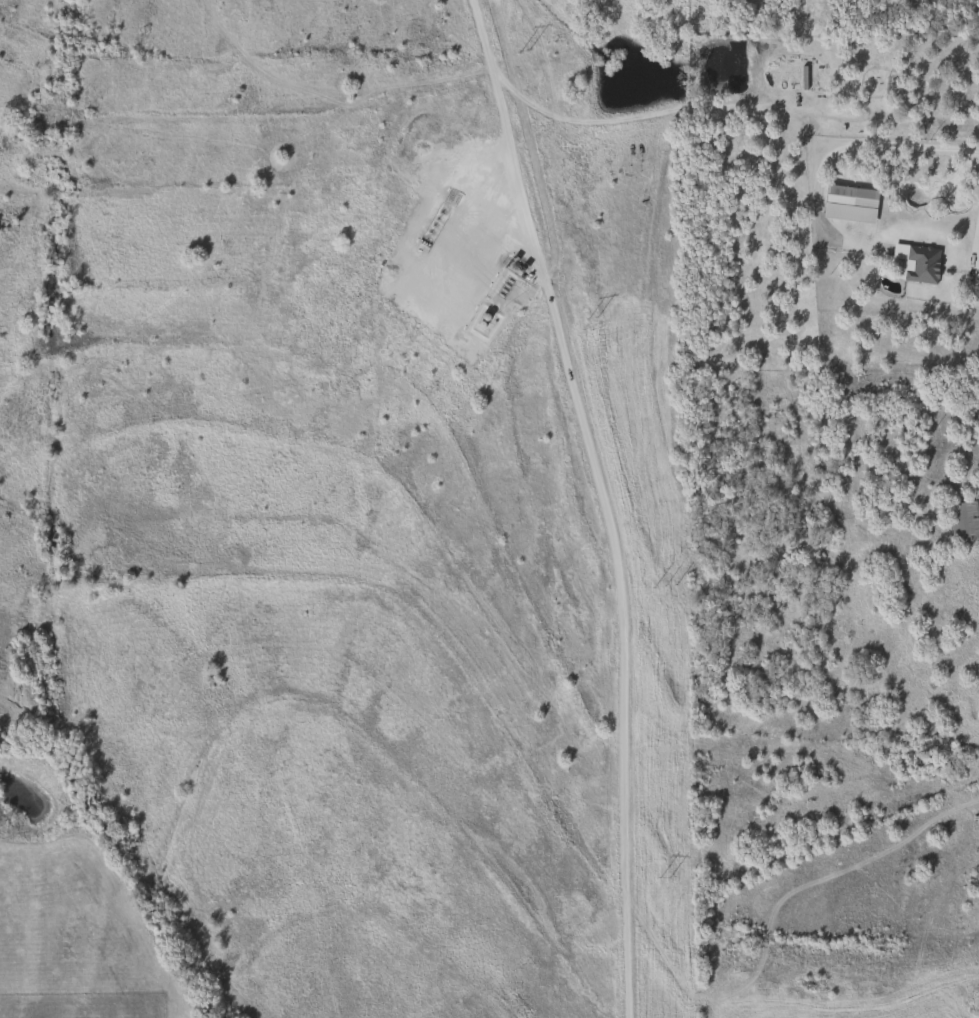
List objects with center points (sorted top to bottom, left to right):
power tower: (524, 52)
road: (901, 145)
building: (848, 196)
road: (977, 245)
building: (914, 263)
power tower: (593, 320)
road: (604, 501)
building: (964, 521)
power tower: (665, 586)
power tower: (665, 878)

